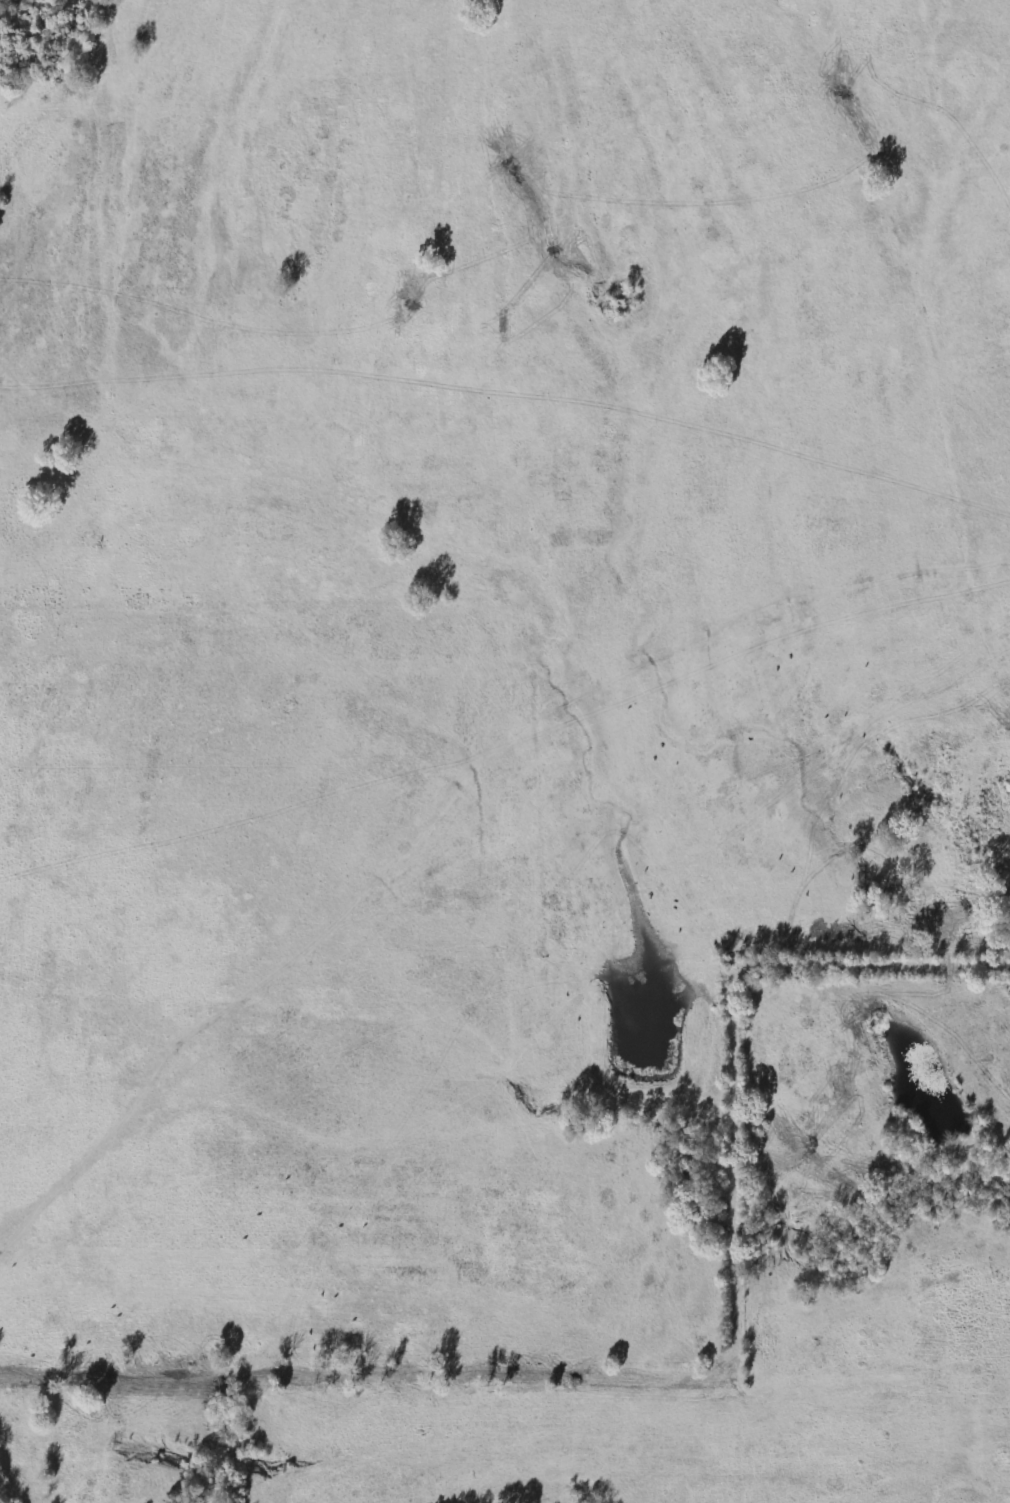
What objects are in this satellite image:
road: (697, 1381)

